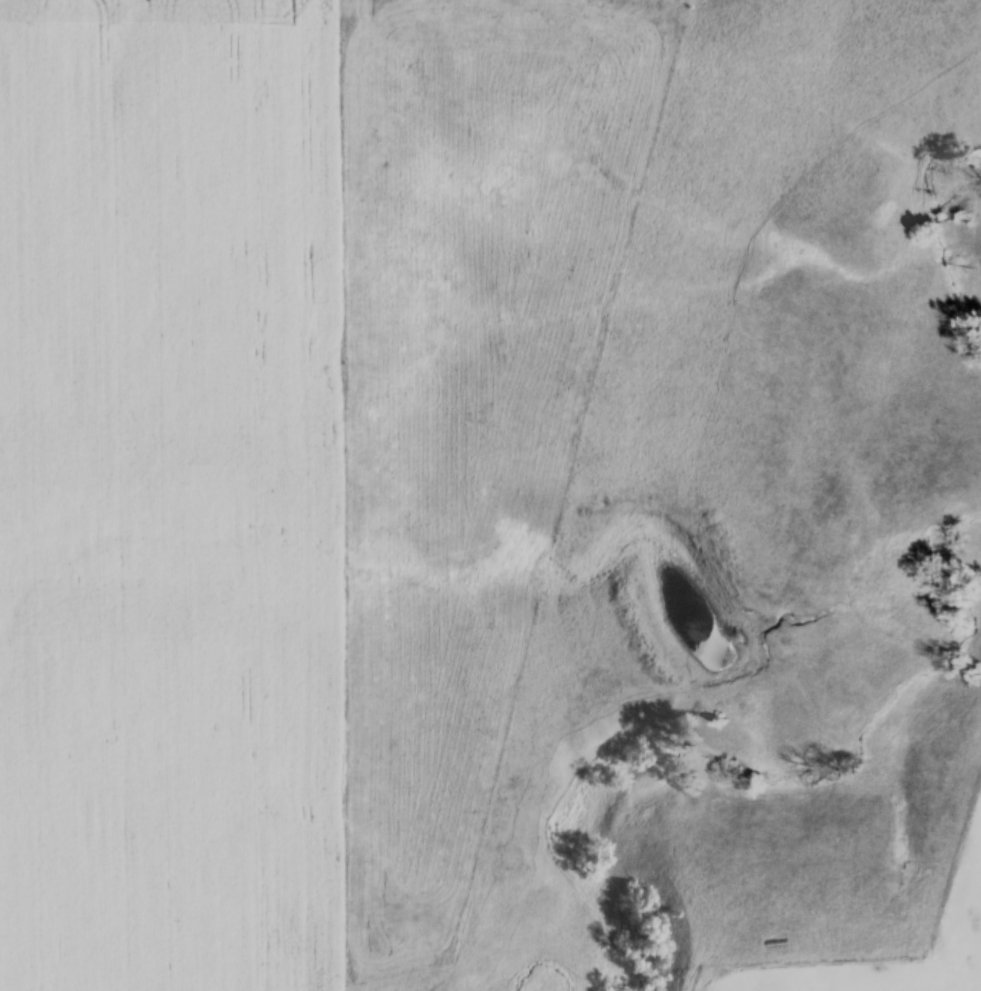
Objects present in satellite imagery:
river: (684, 570)

